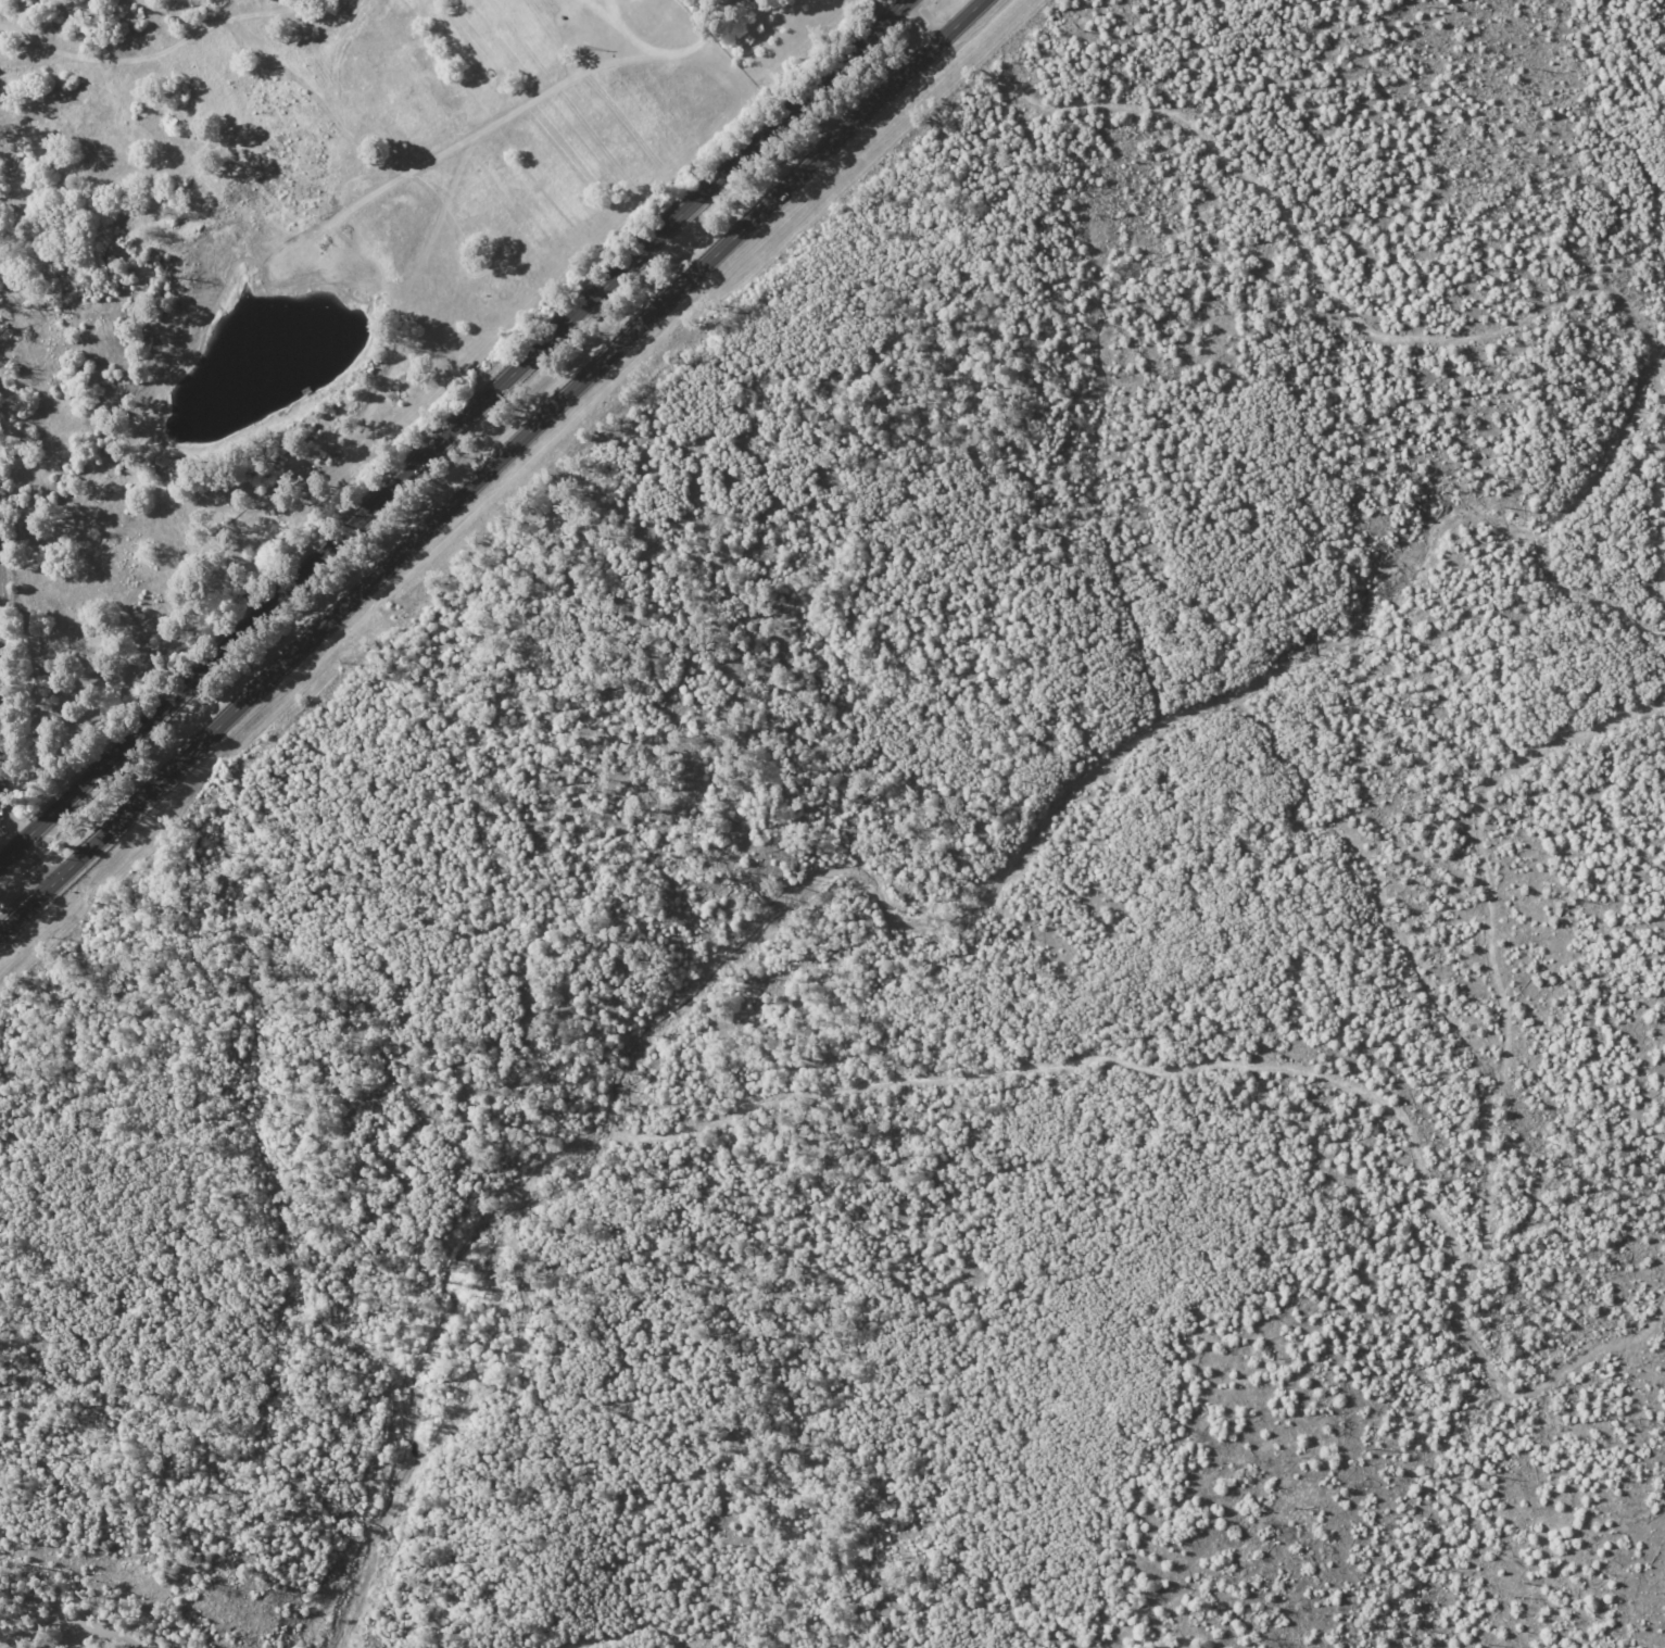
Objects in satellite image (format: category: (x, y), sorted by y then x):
road: (896, 3)
road: (926, 18)
road: (625, 143)
road: (453, 430)
road: (491, 466)
road: (0, 638)
road: (15, 841)
park: (950, 941)
road: (66, 1624)
road: (78, 1636)
road: (21, 1638)

